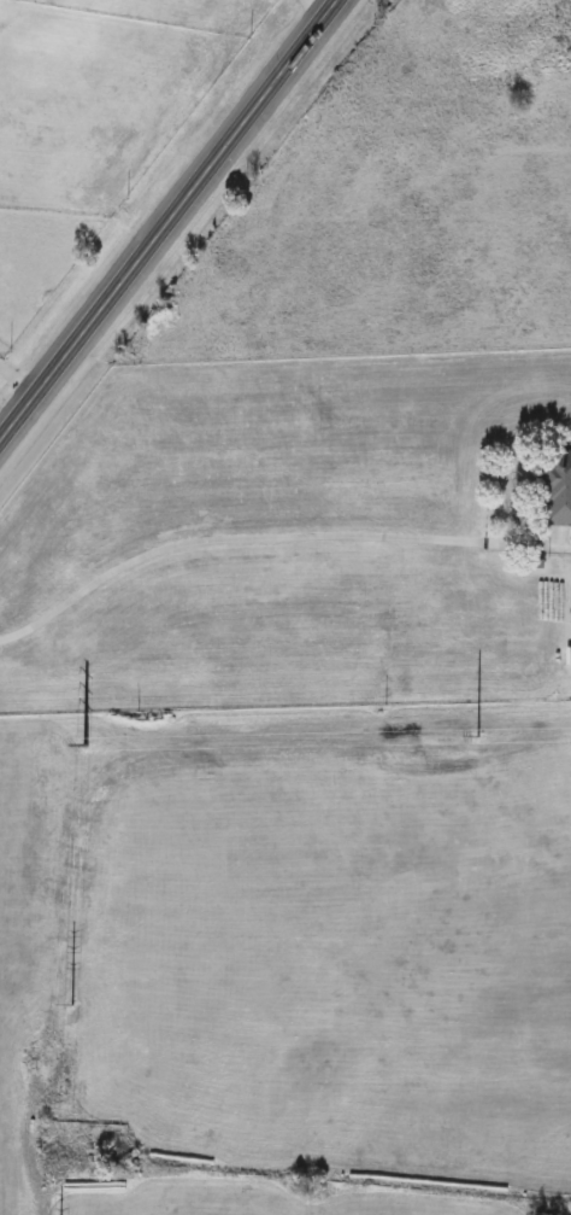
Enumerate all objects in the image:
road: (166, 216)
road: (11, 393)
building: (557, 489)
road: (272, 539)

